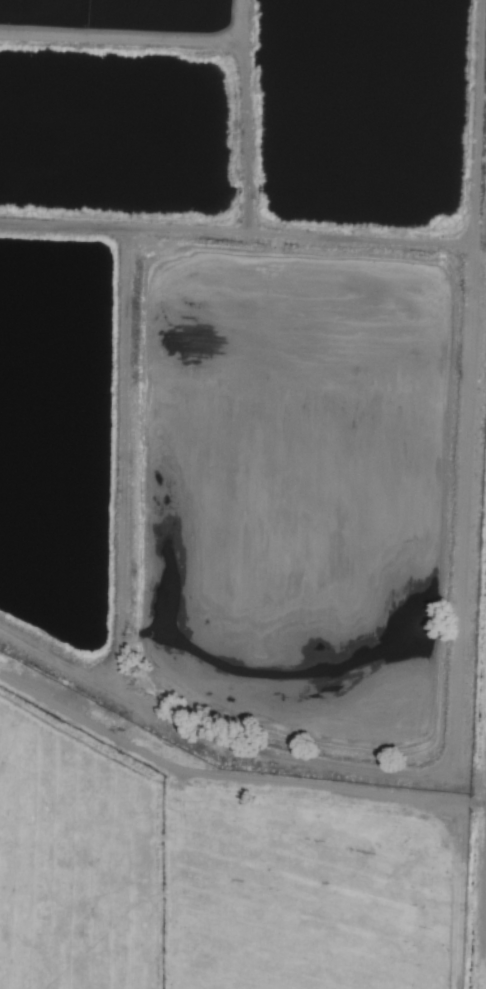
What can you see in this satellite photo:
wastewater plant: (253, 389)

